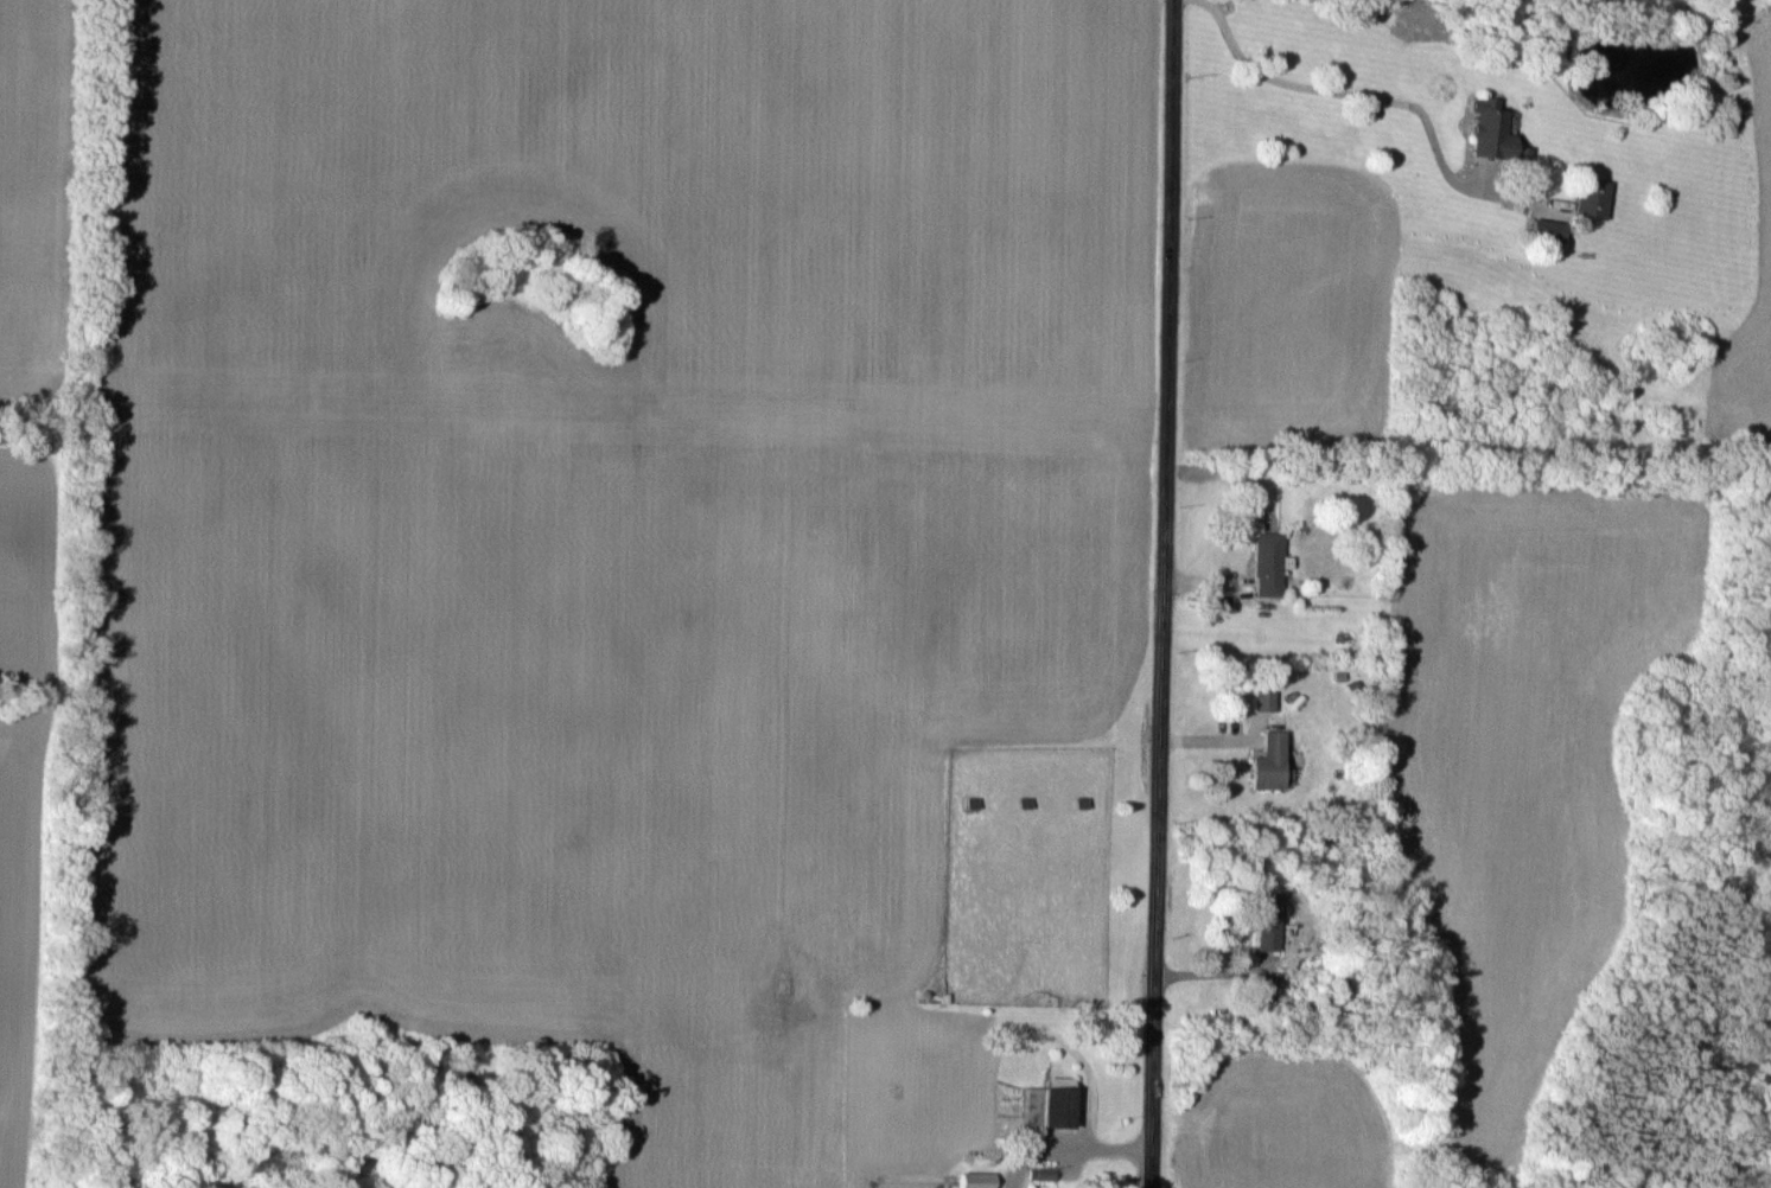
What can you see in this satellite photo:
road: (1352, 91)
building: (1487, 129)
building: (1590, 197)
building: (1544, 229)
crop: (1747, 229)
building: (1272, 564)
road: (1166, 593)
building: (1267, 700)
building: (1274, 761)
building: (873, 801)
crop: (1498, 805)
building: (1269, 920)
building: (1053, 1103)
road: (1069, 1147)
building: (980, 1180)

